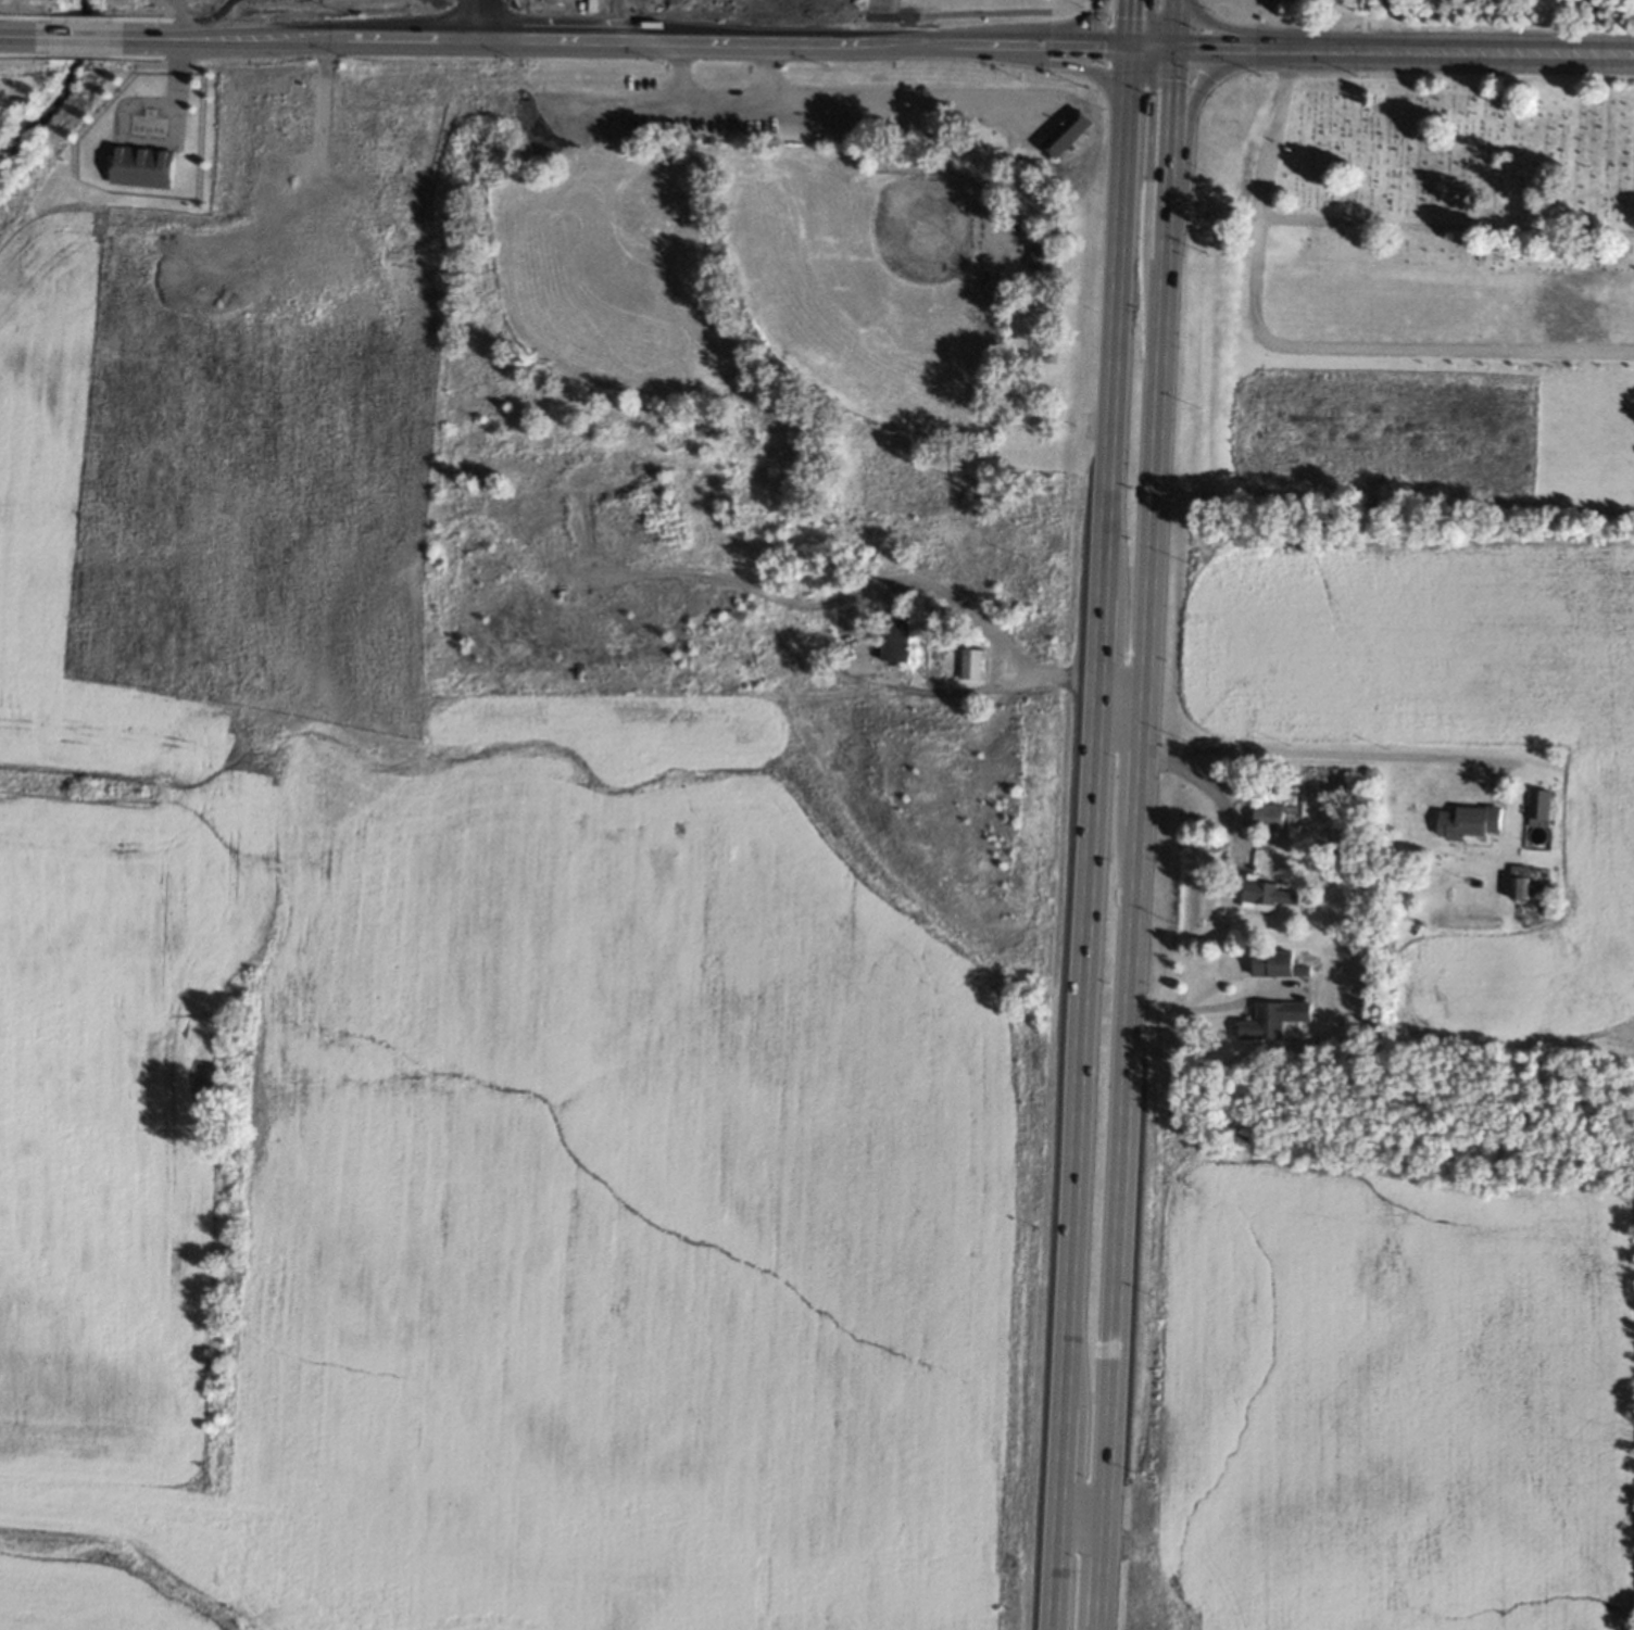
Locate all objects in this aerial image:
park: (1437, 17)
road: (177, 18)
road: (477, 18)
road: (879, 21)
road: (1124, 22)
road: (1171, 22)
road: (1089, 23)
road: (1152, 26)
road: (1221, 26)
road: (23, 35)
road: (77, 37)
road: (492, 38)
road: (1057, 41)
road: (917, 42)
road: (1002, 42)
road: (1096, 42)
traffic signals: (1123, 43)
road: (1147, 43)
traffic signals: (1171, 45)
road: (1216, 45)
road: (1274, 46)
road: (1299, 47)
road: (1324, 47)
road: (1486, 50)
road: (1081, 65)
road: (1118, 67)
road: (770, 68)
road: (1214, 73)
road: (830, 96)
building: (1066, 139)
road: (1146, 142)
building: (146, 169)
park: (1418, 177)
road: (1350, 223)
building: (1016, 237)
building: (1040, 261)
road: (1383, 350)
road: (1000, 636)
building: (892, 643)
building: (973, 661)
road: (1308, 753)
road: (1207, 787)
building: (1538, 808)
building: (1269, 814)
building: (1469, 822)
road: (1137, 837)
road: (1091, 861)
building: (1519, 883)
building: (1261, 900)
building: (1272, 960)
road: (1194, 1007)
building: (1273, 1014)

